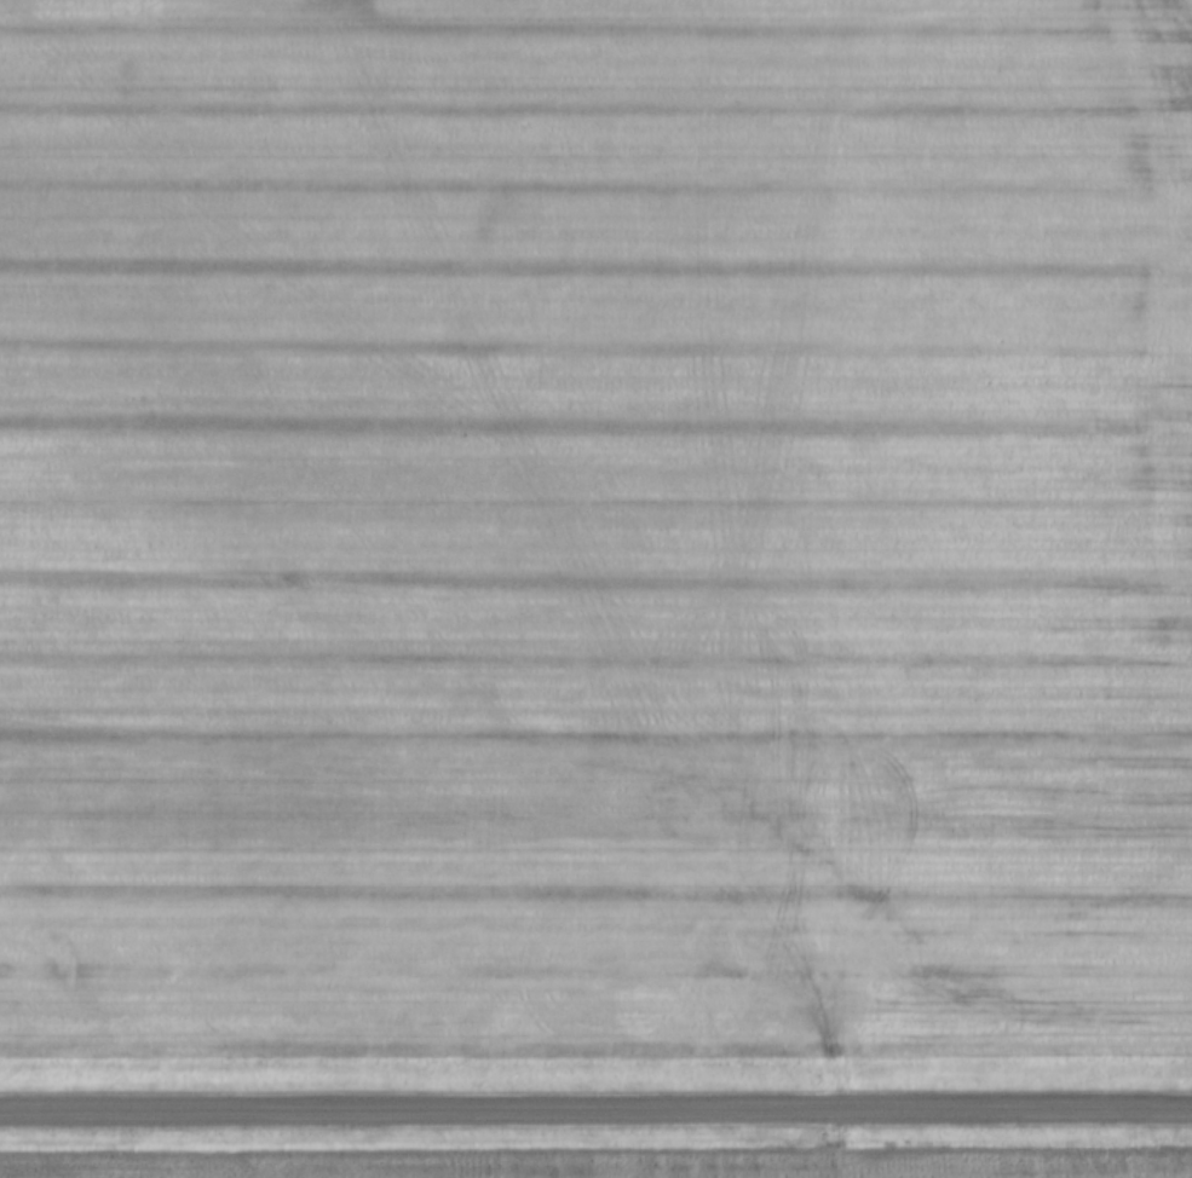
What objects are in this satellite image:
road: (595, 1114)

